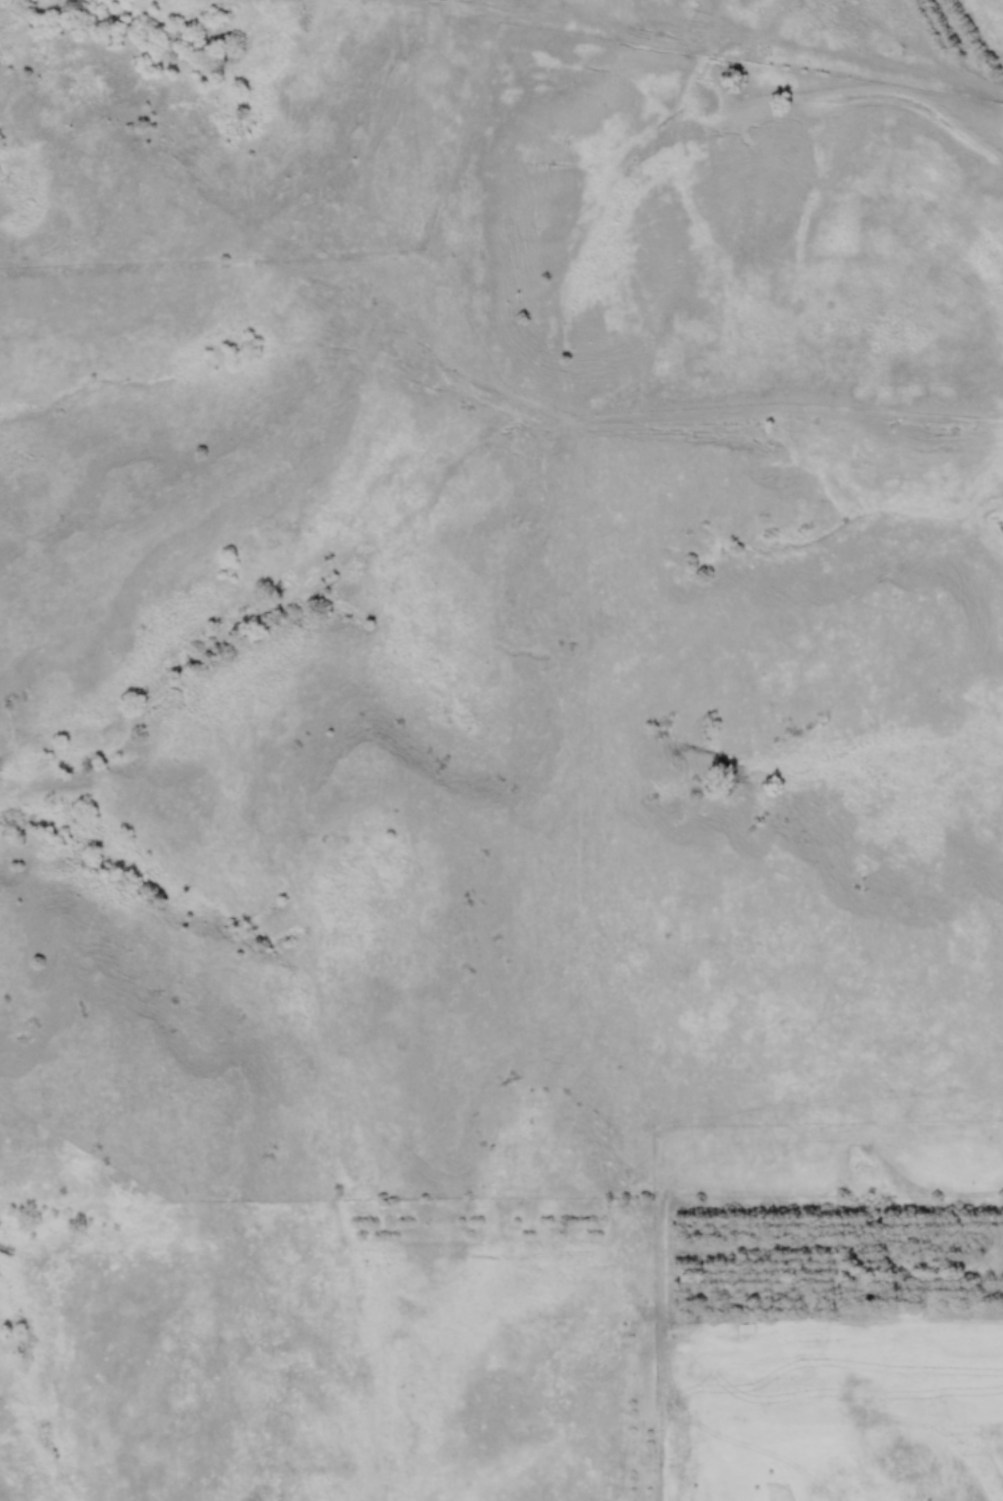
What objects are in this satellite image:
building: (747, 1332)

